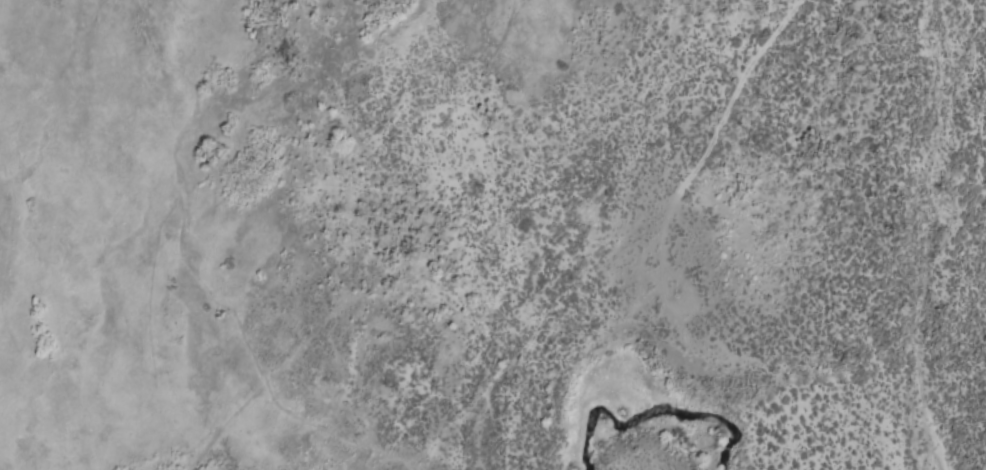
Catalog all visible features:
road: (713, 152)

